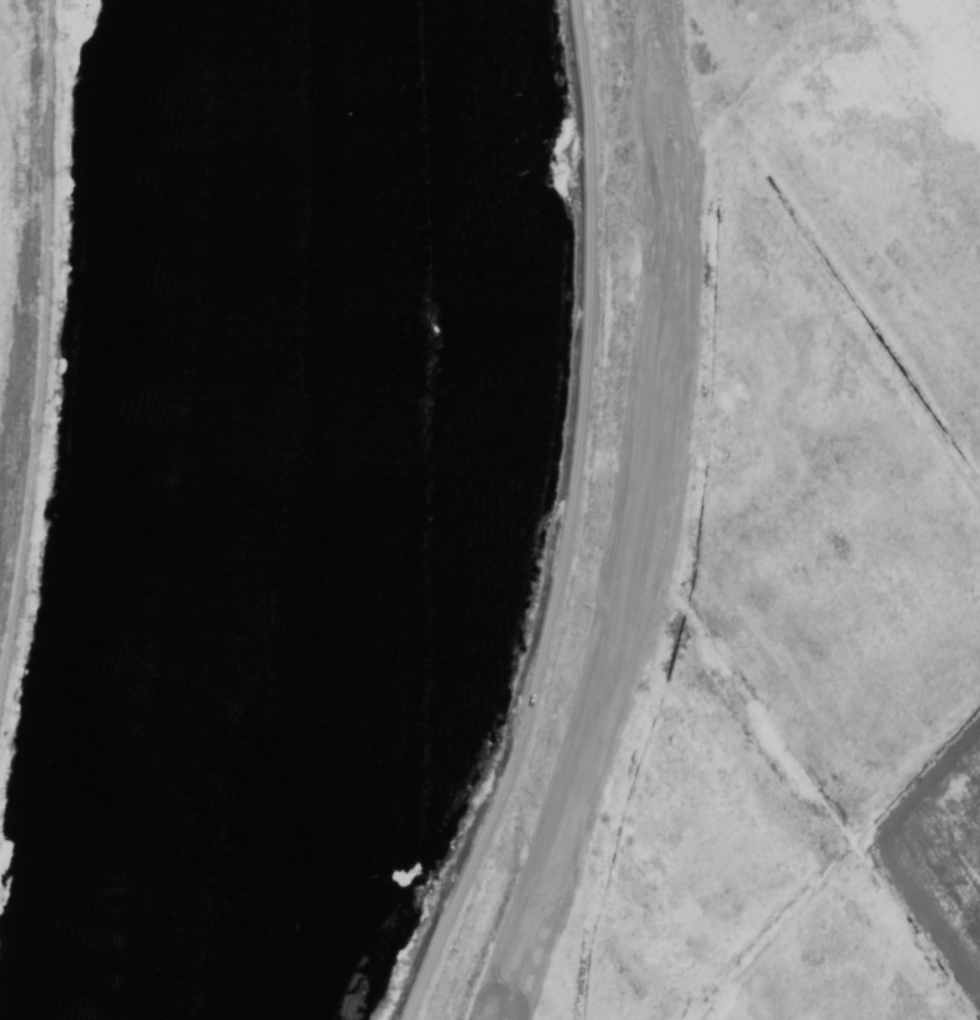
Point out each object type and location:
crop: (22, 334)
river: (234, 513)
road: (572, 523)
crop: (799, 559)

